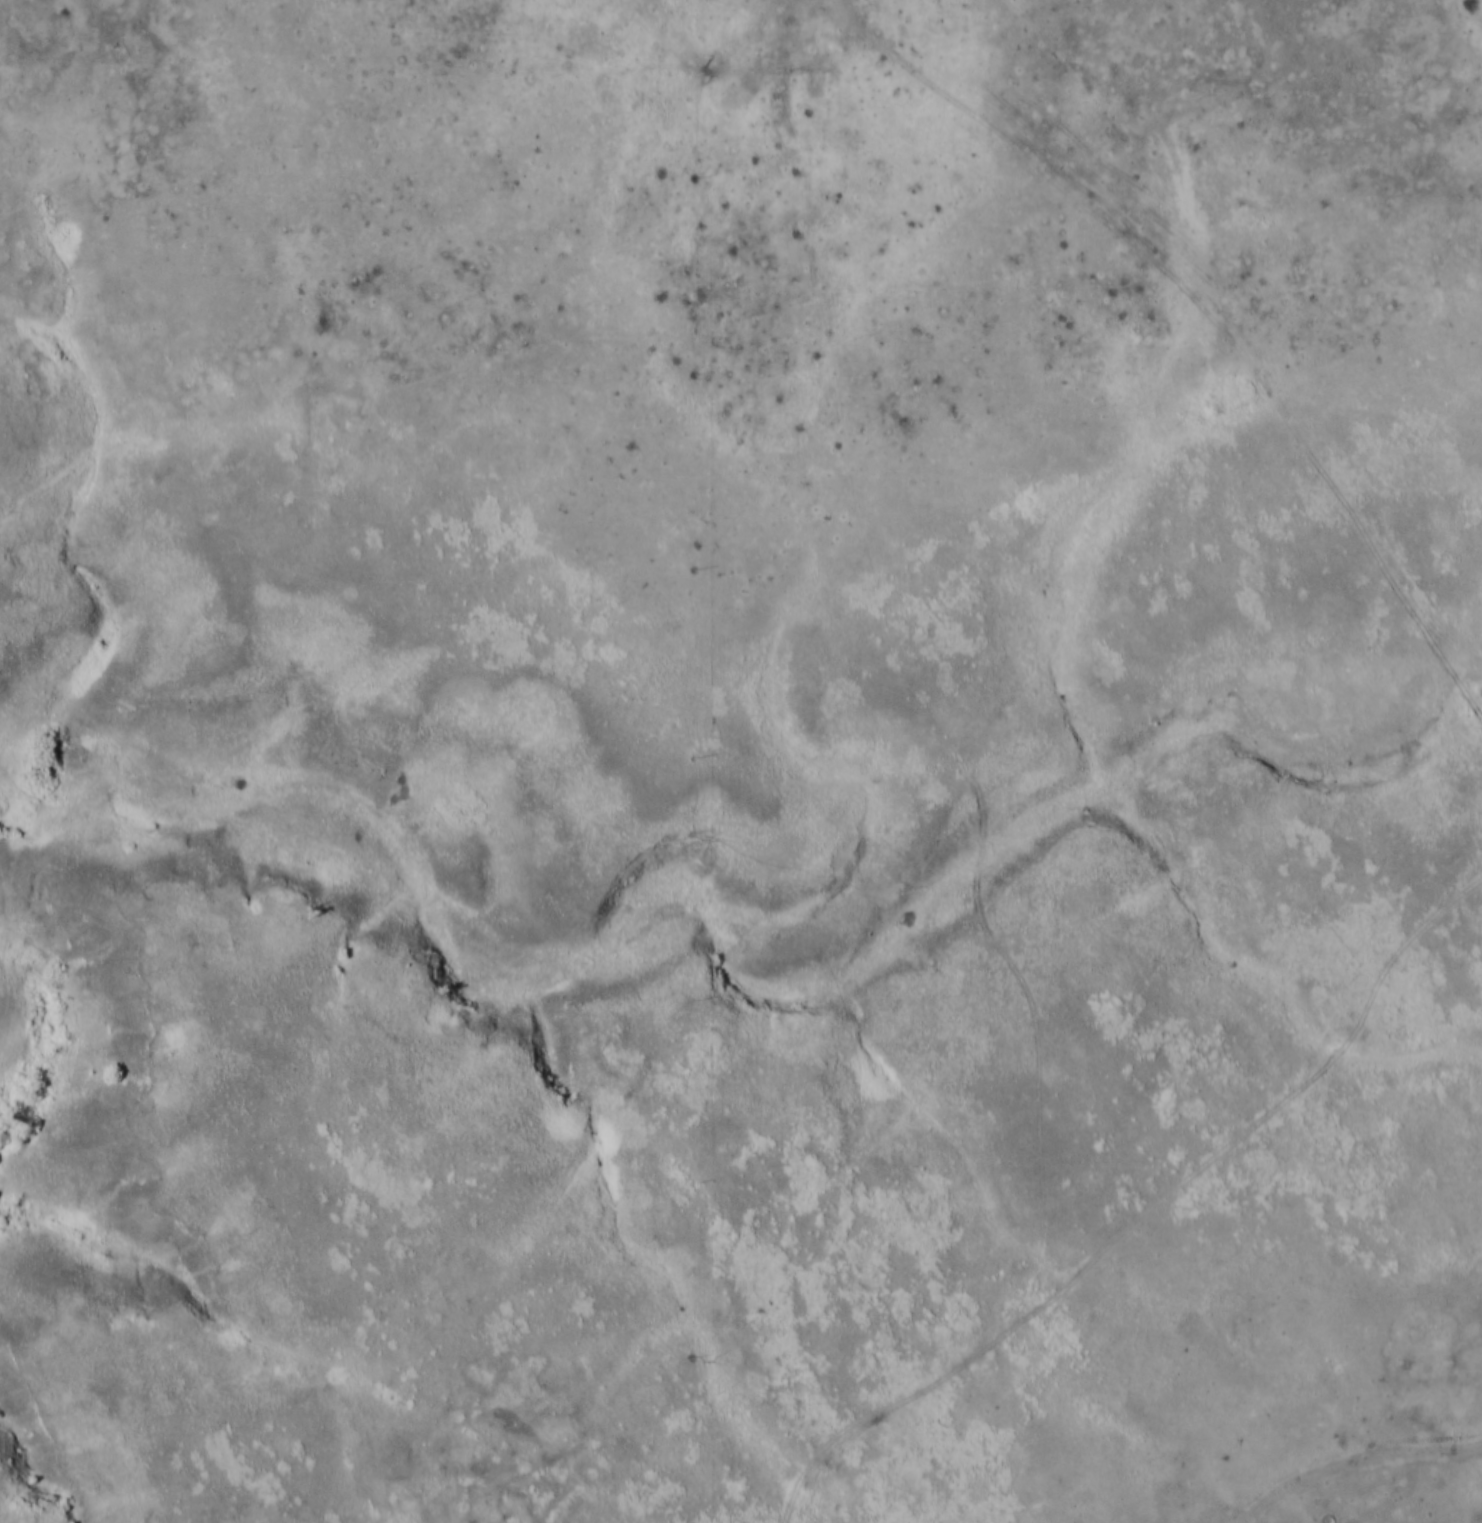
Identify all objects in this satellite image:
road: (1351, 1460)

